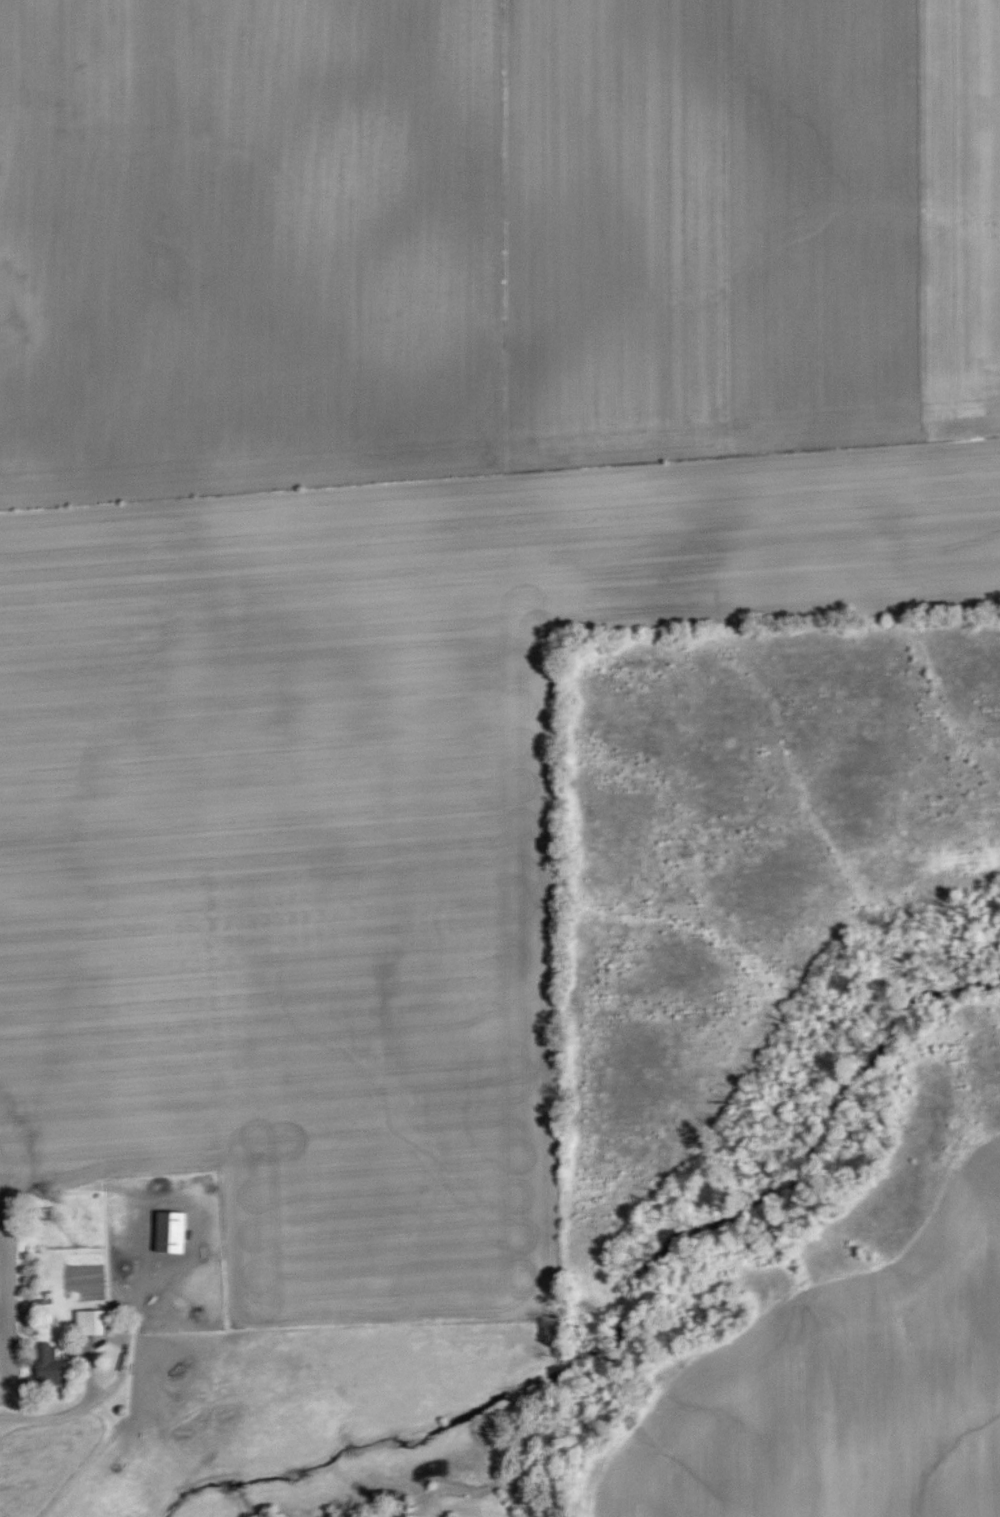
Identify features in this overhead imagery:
building: (170, 1231)
building: (89, 1322)
building: (50, 1365)

